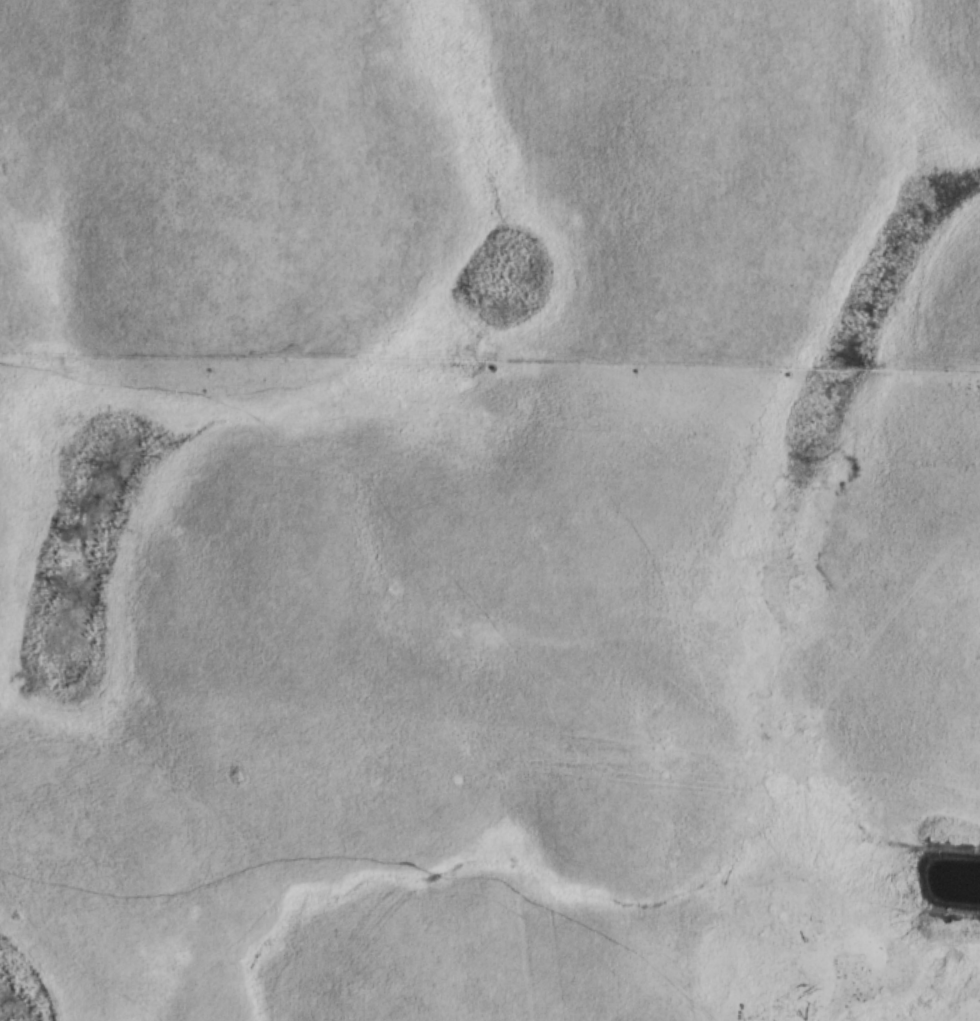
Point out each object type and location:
river: (957, 926)

